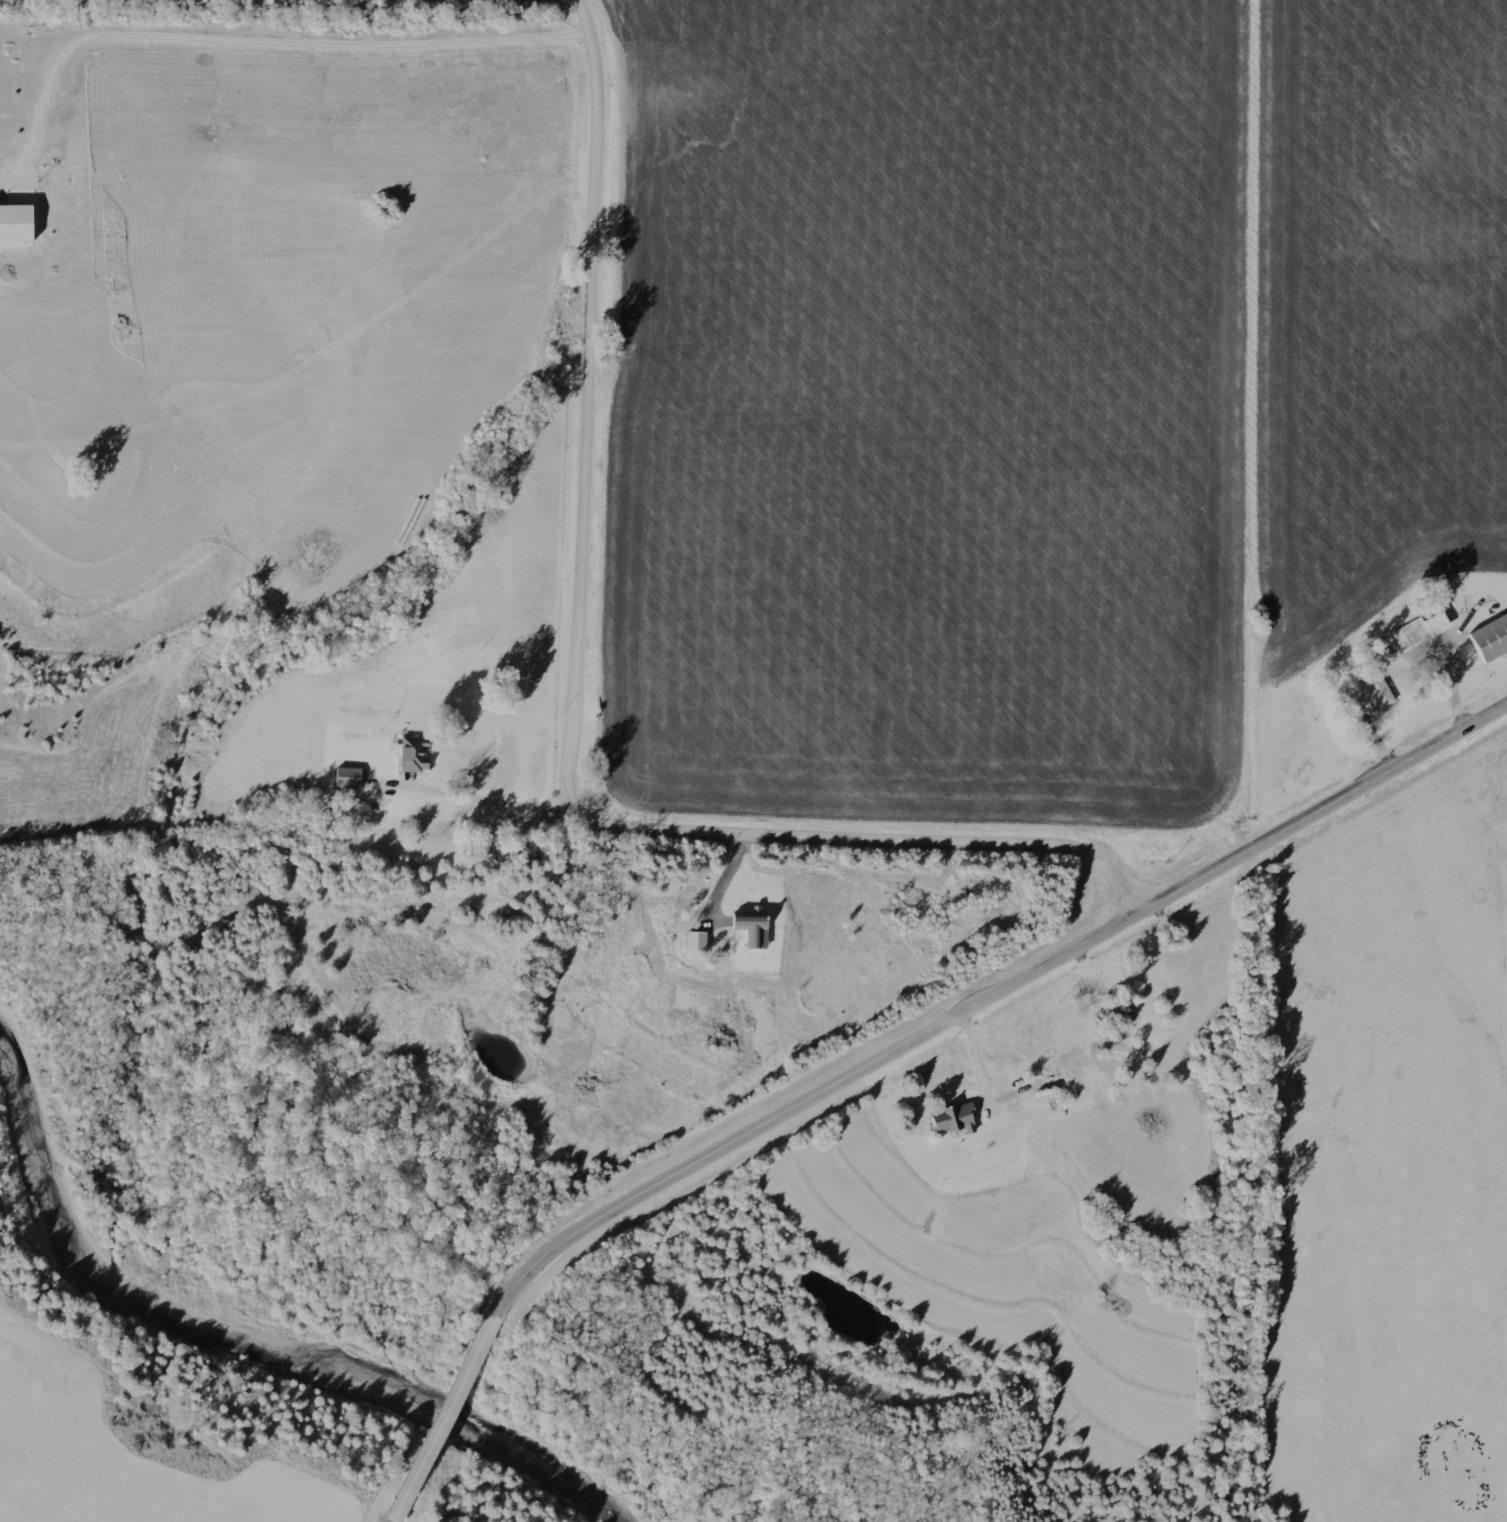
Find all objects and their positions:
road: (248, 39)
building: (17, 224)
building: (1422, 632)
building: (1492, 640)
road: (582, 695)
building: (1371, 696)
building: (415, 754)
building: (350, 779)
building: (754, 930)
building: (698, 942)
road: (890, 1053)
building: (957, 1120)

